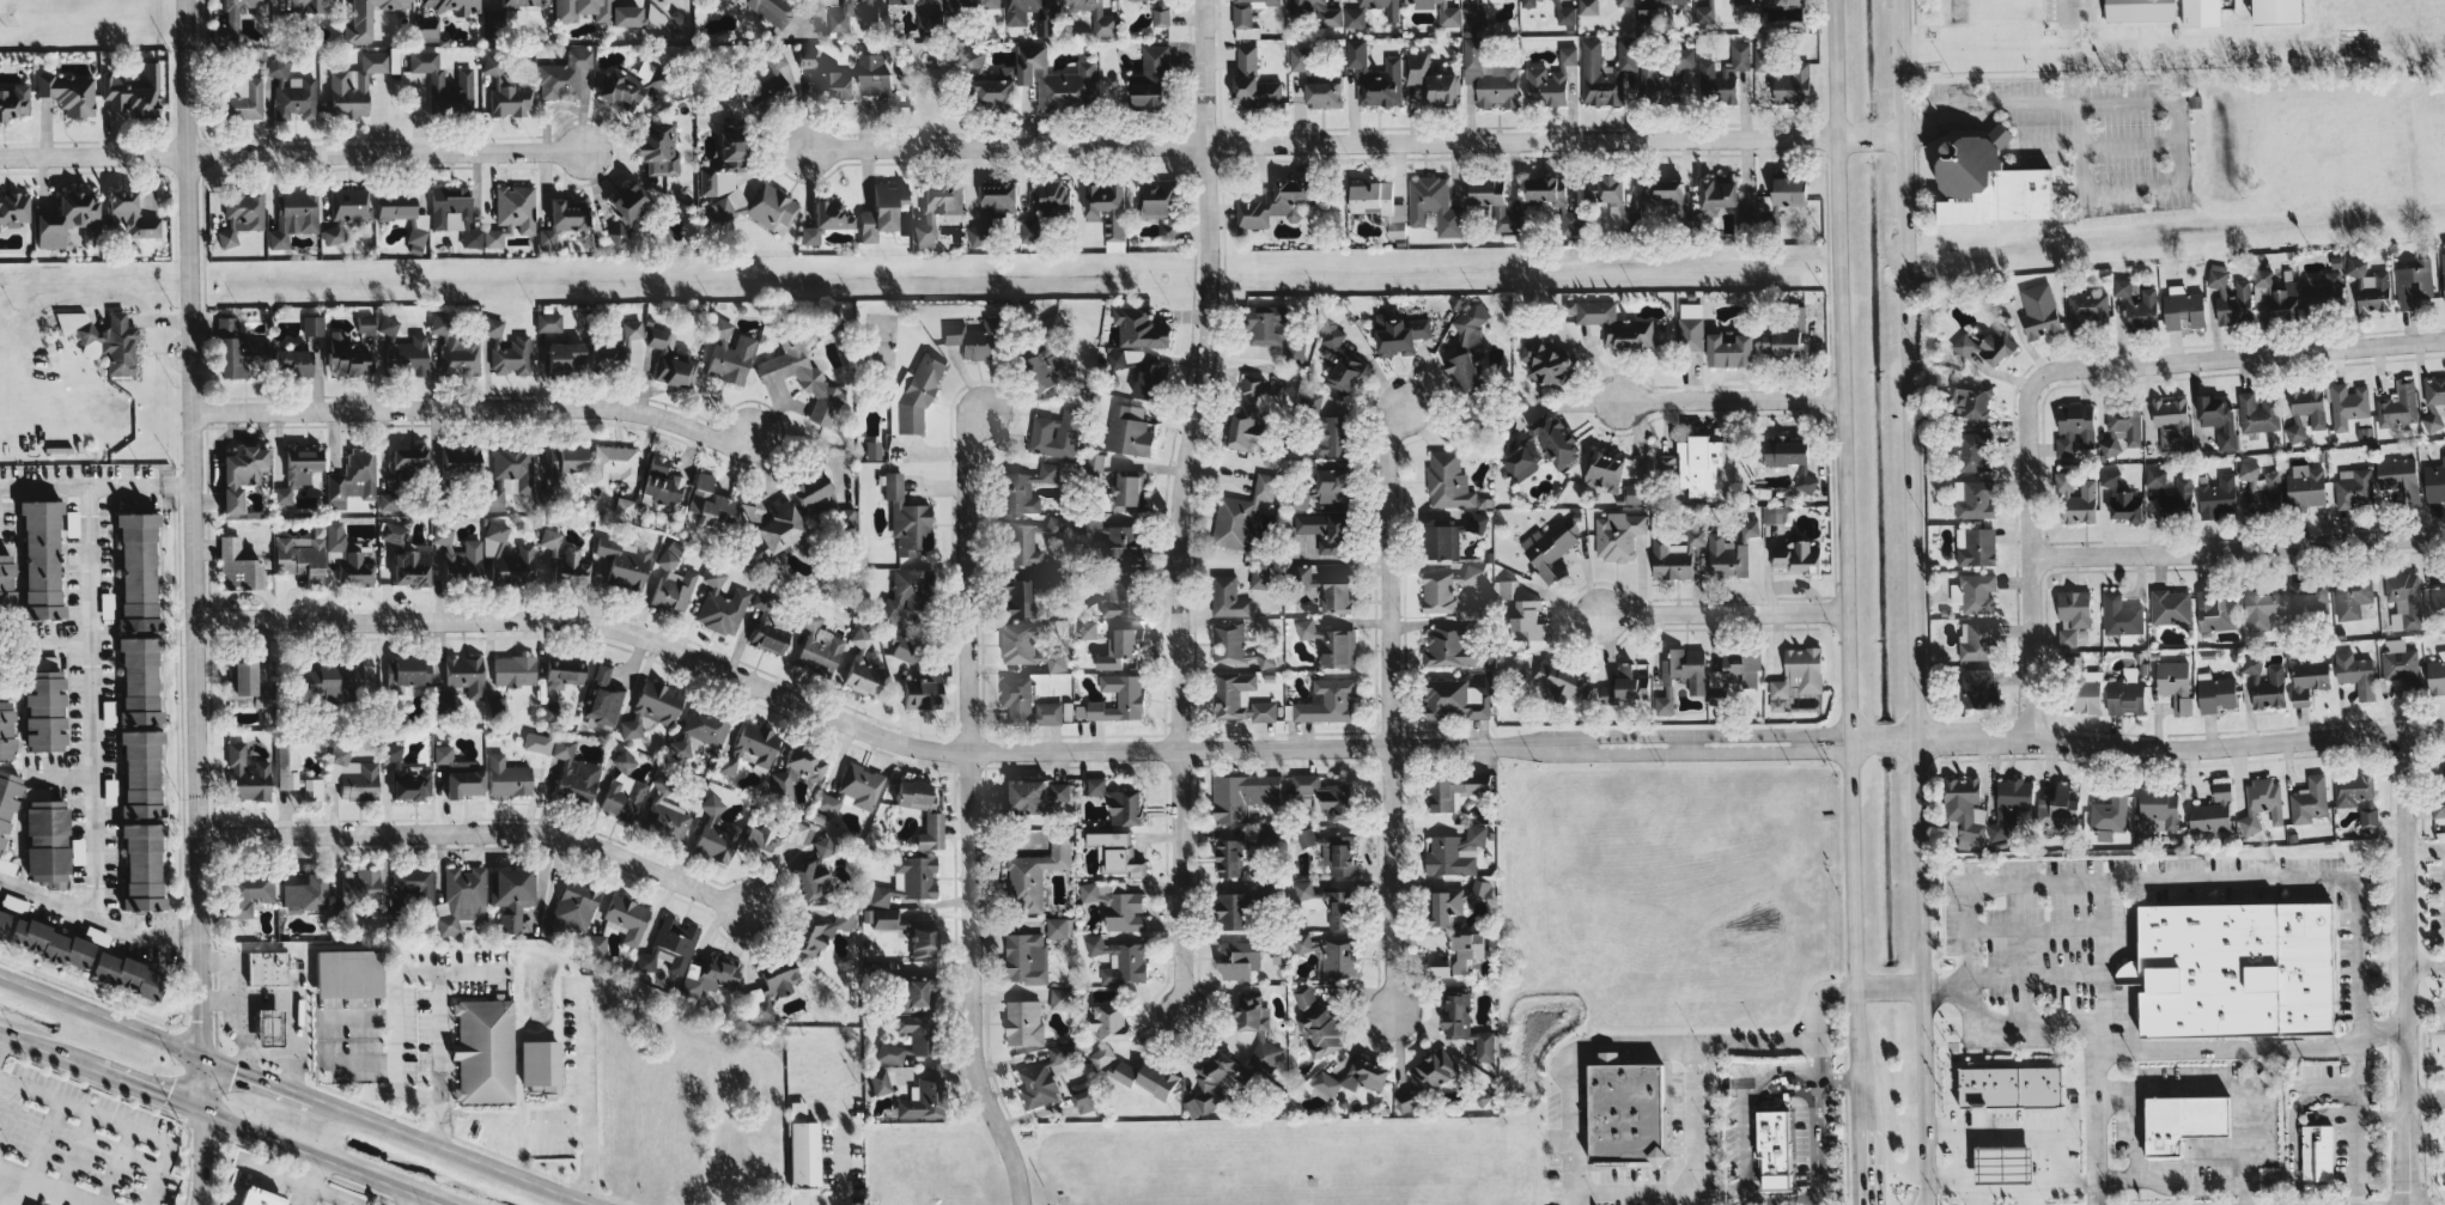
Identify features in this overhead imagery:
building: (901, 1)
building: (1740, 1)
building: (524, 2)
building: (1528, 2)
building: (1624, 2)
building: (1782, 2)
building: (454, 5)
building: (972, 5)
building: (311, 6)
building: (1588, 6)
building: (1656, 8)
building: (2140, 10)
building: (768, 11)
building: (1247, 11)
building: (1316, 11)
building: (1440, 11)
building: (2277, 11)
building: (598, 12)
building: (1160, 12)
building: (1705, 12)
building: (2201, 12)
building: (852, 13)
building: (1563, 13)
building: (1355, 14)
building: (1474, 14)
building: (1097, 17)
building: (366, 18)
building: (1015, 18)
building: (231, 22)
building: (927, 24)
road: (2062, 24)
building: (425, 30)
road: (2069, 48)
building: (1298, 59)
building: (971, 61)
building: (1605, 72)
building: (564, 75)
building: (1374, 75)
building: (1664, 75)
building: (1722, 75)
building: (877, 77)
building: (1151, 77)
building: (1489, 77)
building: (825, 78)
building: (467, 79)
building: (1253, 79)
building: (1057, 80)
building: (1431, 80)
building: (1550, 80)
building: (355, 85)
building: (770, 85)
building: (619, 89)
building: (997, 89)
building: (291, 90)
building: (505, 91)
building: (133, 92)
building: (68, 93)
building: (1322, 93)
building: (241, 97)
road: (2176, 99)
building: (13, 101)
road: (1355, 141)
road: (2128, 141)
building: (732, 146)
building: (658, 147)
road: (382, 152)
road: (92, 154)
building: (707, 182)
building: (1989, 182)
building: (1664, 189)
building: (1788, 189)
building: (1717, 193)
building: (1050, 196)
building: (1611, 196)
building: (1373, 197)
building: (1277, 202)
building: (1494, 202)
building: (1160, 203)
building: (1434, 205)
building: (1561, 205)
building: (756, 207)
building: (13, 208)
building: (882, 209)
building: (936, 209)
building: (346, 211)
building: (625, 211)
building: (1108, 211)
building: (993, 212)
building: (402, 213)
building: (241, 214)
building: (454, 214)
building: (511, 214)
building: (129, 215)
building: (293, 217)
building: (67, 220)
building: (562, 220)
building: (826, 220)
building: (1029, 229)
building: (2443, 274)
building: (2414, 282)
building: (2370, 286)
building: (2324, 291)
building: (2274, 296)
building: (2230, 297)
building: (2137, 305)
building: (2183, 306)
building: (2085, 310)
building: (2039, 311)
building: (548, 322)
building: (365, 324)
building: (1614, 324)
building: (312, 325)
building: (388, 325)
building: (1691, 325)
building: (1139, 327)
building: (720, 328)
building: (1273, 330)
building: (1399, 334)
building: (1787, 335)
building: (1332, 336)
building: (103, 339)
building: (977, 339)
building: (1987, 346)
building: (456, 348)
building: (616, 348)
building: (1467, 348)
building: (1729, 348)
building: (507, 349)
building: (238, 351)
building: (1046, 353)
building: (345, 355)
building: (409, 355)
road: (2237, 357)
building: (565, 358)
building: (732, 359)
building: (1115, 359)
building: (670, 360)
building: (1546, 360)
building: (293, 361)
building: (1344, 373)
building: (802, 378)
building: (1149, 379)
building: (914, 395)
building: (1970, 398)
road: (1731, 402)
building: (2434, 402)
building: (2348, 404)
building: (2398, 404)
road: (470, 406)
building: (1249, 412)
building: (2257, 412)
building: (2305, 412)
building: (2218, 419)
building: (2171, 421)
building: (2124, 424)
building: (2075, 428)
building: (1129, 430)
building: (1056, 434)
building: (1333, 434)
building: (1555, 438)
building: (2110, 446)
building: (871, 450)
building: (1975, 451)
building: (1790, 457)
building: (567, 458)
building: (1523, 460)
building: (461, 462)
building: (1095, 462)
building: (614, 463)
building: (1666, 463)
building: (1699, 464)
building: (298, 469)
building: (1604, 470)
building: (510, 474)
building: (241, 475)
building: (2398, 475)
building: (2110, 477)
building: (352, 480)
building: (1333, 480)
building: (2434, 481)
building: (396, 482)
road: (93, 485)
building: (2261, 486)
building: (2305, 487)
building: (2354, 487)
building: (1024, 488)
building: (1129, 489)
building: (2184, 489)
building: (1634, 493)
building: (2216, 495)
building: (1972, 499)
building: (2075, 499)
building: (710, 503)
building: (2127, 505)
road: (1175, 506)
building: (624, 507)
building: (1772, 513)
building: (1240, 515)
building: (907, 517)
building: (1091, 523)
building: (772, 528)
building: (1324, 530)
building: (394, 532)
building: (1618, 535)
building: (1029, 540)
building: (1440, 541)
building: (1123, 543)
building: (1976, 546)
road: (2237, 550)
road: (188, 554)
building: (458, 554)
building: (1675, 554)
building: (299, 558)
building: (509, 558)
building: (1726, 558)
building: (1798, 558)
building: (41, 559)
building: (346, 559)
building: (564, 560)
road: (2029, 560)
building: (625, 562)
road: (1847, 562)
building: (238, 566)
building: (410, 568)
building: (138, 572)
building: (1470, 574)
building: (1259, 577)
building: (6, 582)
building: (673, 584)
building: (1325, 588)
building: (1509, 589)
building: (1437, 591)
building: (907, 592)
building: (1975, 592)
building: (1123, 596)
building: (1227, 596)
building: (2307, 596)
building: (2352, 596)
building: (2437, 596)
building: (1018, 598)
building: (2404, 600)
road: (1916, 602)
building: (722, 604)
building: (2170, 605)
building: (2262, 607)
building: (2216, 610)
building: (2073, 614)
building: (2121, 614)
road: (1725, 615)
building: (1527, 621)
building: (767, 622)
building: (1088, 629)
building: (1978, 640)
building: (1228, 641)
building: (1331, 643)
building: (1028, 645)
building: (1449, 645)
building: (819, 646)
building: (1119, 647)
building: (902, 649)
building: (1264, 658)
building: (2251, 663)
building: (2400, 664)
building: (863, 665)
building: (410, 670)
building: (513, 670)
building: (562, 673)
building: (1799, 673)
building: (2355, 673)
building: (2437, 674)
building: (1681, 675)
building: (2309, 680)
building: (139, 681)
building: (329, 682)
building: (460, 682)
building: (1558, 682)
building: (2175, 683)
building: (1626, 686)
building: (248, 687)
building: (1976, 687)
building: (2084, 687)
building: (2269, 688)
building: (922, 693)
building: (2215, 693)
building: (602, 696)
building: (1017, 698)
building: (1118, 698)
building: (1239, 699)
building: (1455, 699)
road: (90, 701)
building: (1327, 701)
building: (1777, 705)
building: (497, 706)
building: (651, 707)
road: (1383, 707)
building: (44, 711)
building: (548, 711)
building: (1050, 712)
building: (6, 730)
building: (536, 742)
road: (1306, 745)
building: (750, 747)
building: (286, 763)
building: (797, 771)
building: (460, 773)
building: (573, 773)
building: (247, 774)
building: (352, 774)
building: (406, 775)
building: (507, 777)
building: (1306, 783)
building: (860, 786)
building: (1454, 789)
building: (622, 790)
building: (1035, 795)
building: (1242, 795)
building: (2358, 795)
building: (2439, 796)
building: (2309, 799)
building: (7, 801)
building: (1337, 801)
building: (1119, 802)
building: (827, 803)
building: (2262, 803)
building: (2009, 804)
building: (2160, 804)
building: (1965, 807)
building: (2057, 809)
road: (967, 810)
building: (2213, 811)
building: (664, 813)
building: (2109, 815)
building: (141, 821)
building: (933, 822)
road: (479, 828)
building: (714, 833)
building: (1306, 836)
building: (47, 842)
building: (760, 844)
road: (2426, 848)
building: (1455, 851)
building: (1119, 853)
building: (1339, 854)
building: (1229, 857)
building: (1035, 868)
building: (813, 872)
road: (2163, 876)
building: (412, 883)
building: (1480, 888)
building: (250, 891)
building: (363, 891)
building: (305, 894)
building: (511, 896)
building: (461, 899)
building: (1308, 903)
building: (1117, 905)
building: (1445, 905)
building: (571, 908)
building: (1233, 909)
road: (97, 919)
building: (626, 919)
building: (2, 923)
building: (1057, 926)
road: (2063, 929)
building: (820, 931)
building: (908, 931)
building: (50, 943)
building: (596, 944)
building: (668, 947)
building: (1466, 950)
building: (1331, 953)
building: (1026, 957)
building: (1237, 960)
road: (213, 961)
building: (267, 967)
road: (2407, 968)
building: (2234, 969)
building: (1440, 970)
road: (450, 972)
building: (348, 973)
building: (126, 974)
building: (710, 975)
building: (772, 986)
road: (1891, 988)
building: (914, 994)
building: (1059, 998)
road: (244, 1003)
road: (2426, 1008)
building: (1251, 1012)
road: (99, 1015)
road: (353, 1015)
building: (1024, 1022)
building: (1316, 1023)
building: (1465, 1023)
building: (270, 1027)
building: (1108, 1029)
road: (233, 1030)
road: (292, 1031)
building: (922, 1037)
road: (438, 1039)
road: (1654, 1039)
road: (2097, 1047)
road: (2255, 1048)
building: (482, 1049)
road: (47, 1051)
road: (394, 1053)
building: (1264, 1053)
traffic signals: (199, 1054)
road: (354, 1060)
road: (1814, 1060)
road: (244, 1061)
building: (540, 1066)
building: (1434, 1070)
building: (1355, 1076)
road: (1786, 1076)
road: (1836, 1076)
road: (254, 1077)
building: (1148, 1077)
building: (1042, 1078)
building: (878, 1082)
building: (1214, 1082)
building: (2011, 1087)
road: (147, 1088)
road: (585, 1088)
road: (1781, 1089)
road: (2331, 1090)
building: (1083, 1096)
road: (2240, 1096)
road: (2426, 1096)
building: (924, 1099)
building: (1409, 1099)
road: (1993, 1106)
traffic signals: (200, 1108)
building: (1626, 1112)
road: (2383, 1115)
road: (2358, 1120)
road: (112, 1121)
building: (2178, 1122)
road: (438, 1125)
road: (1945, 1128)
road: (558, 1131)
road: (2135, 1132)
road: (44, 1142)
road: (1813, 1144)
road: (1742, 1148)
building: (1772, 1148)
road: (2294, 1148)
road: (454, 1151)
road: (73, 1152)
building: (2315, 1152)
building: (803, 1154)
road: (199, 1156)
road: (321, 1156)
building: (2003, 1161)
road: (1862, 1166)
road: (114, 1167)
road: (1692, 1174)
road: (6, 1176)
road: (312, 1181)
road: (37, 1185)
road: (298, 1185)
road: (2190, 1186)
building: (259, 1197)
road: (1982, 1197)
road: (406, 1198)
road: (2035, 1198)

